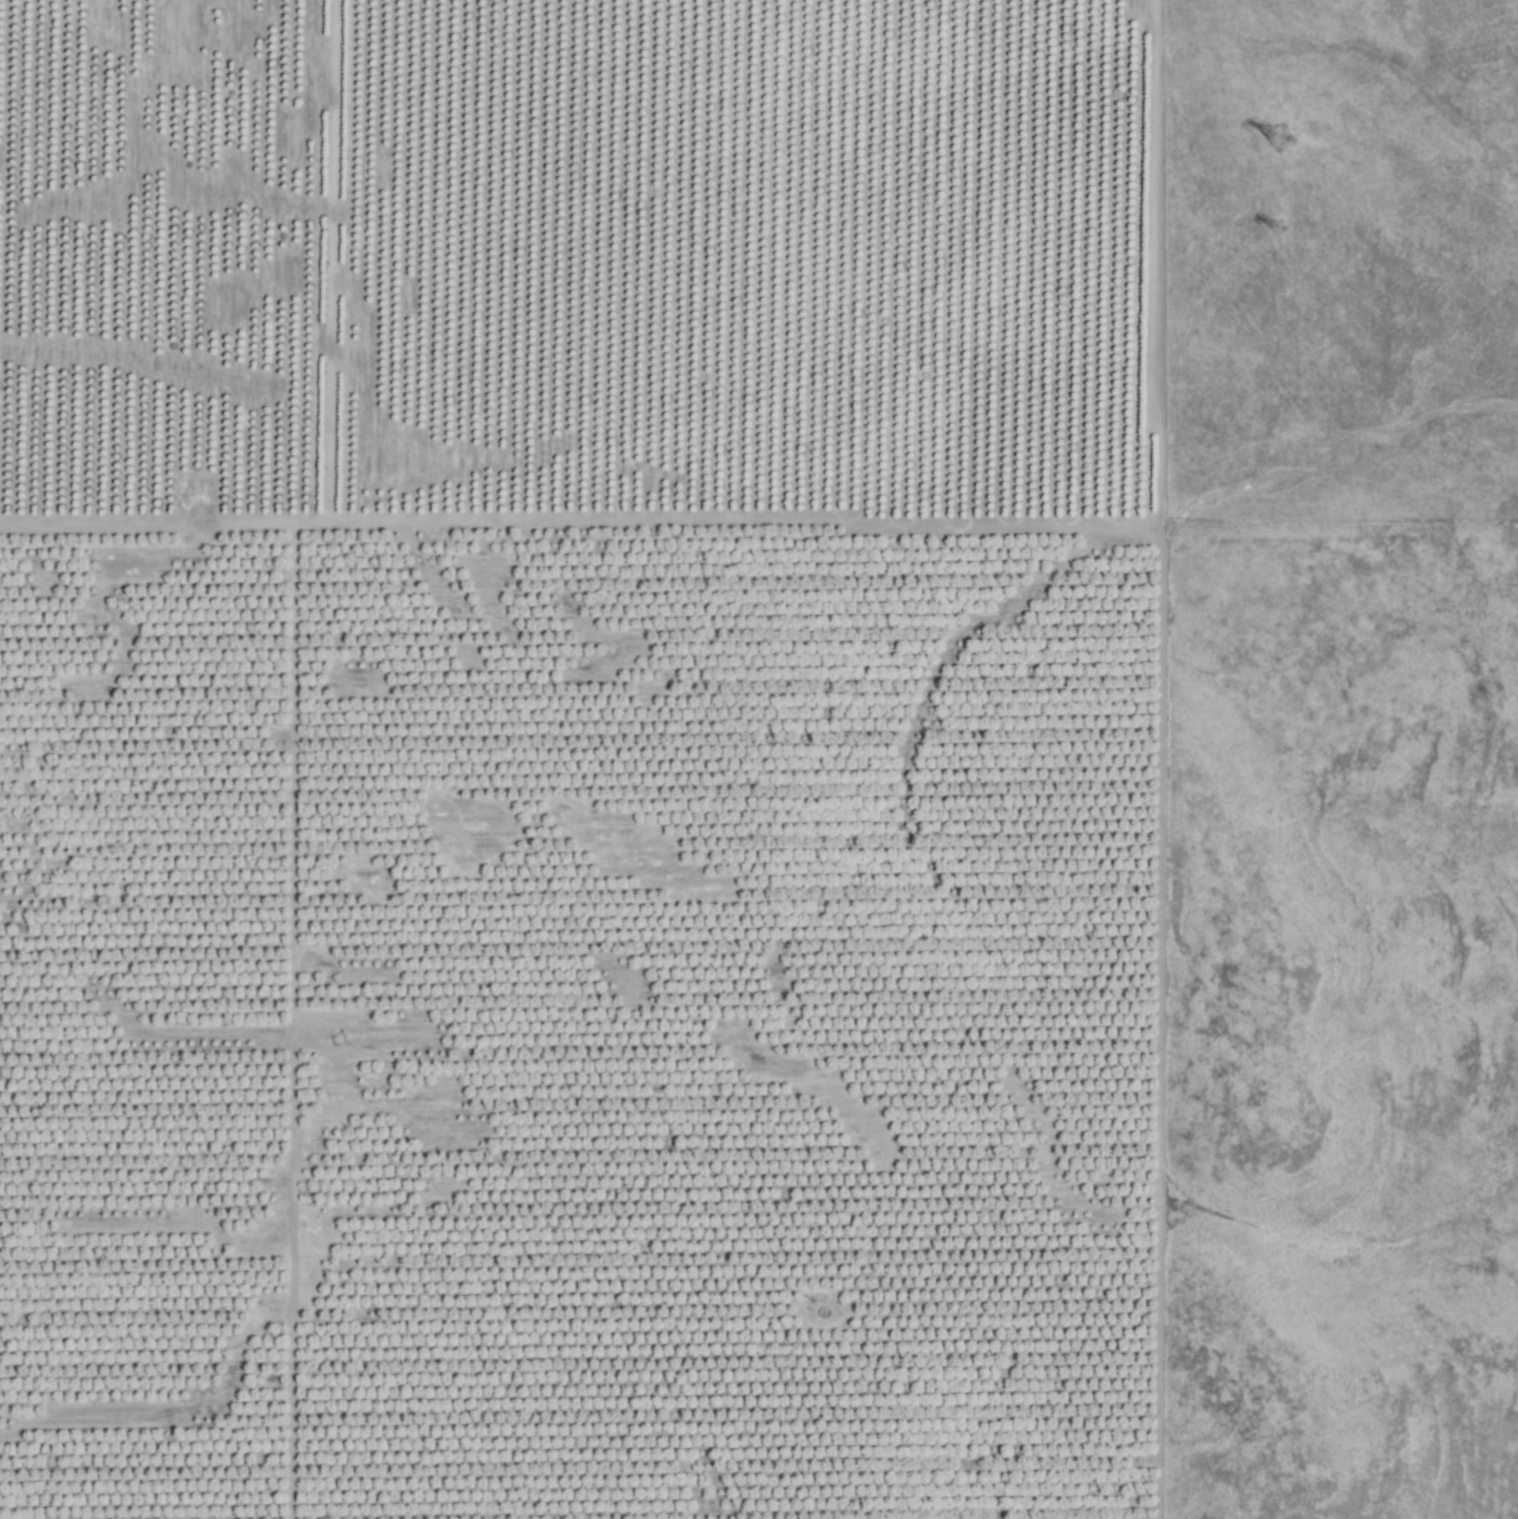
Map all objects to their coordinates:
power tower: (1279, 140)
power tower: (1276, 227)

